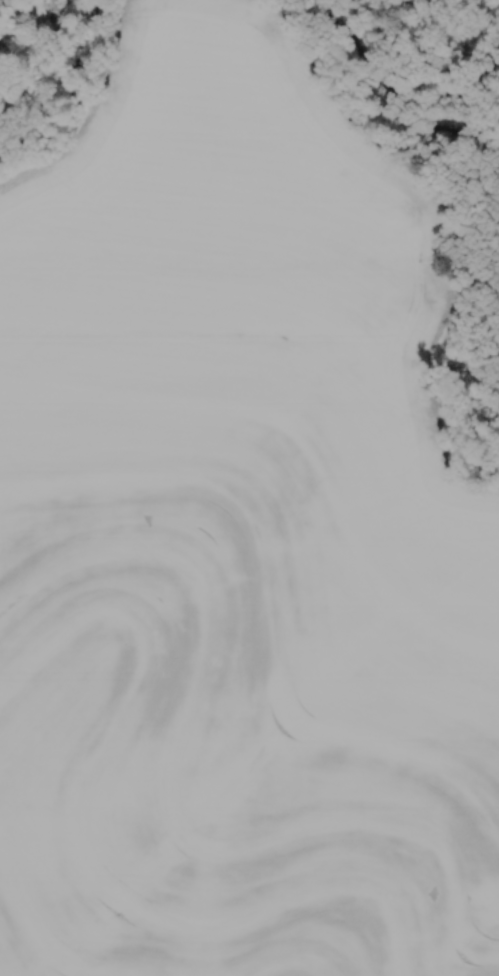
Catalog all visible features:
building: (0, 30)

